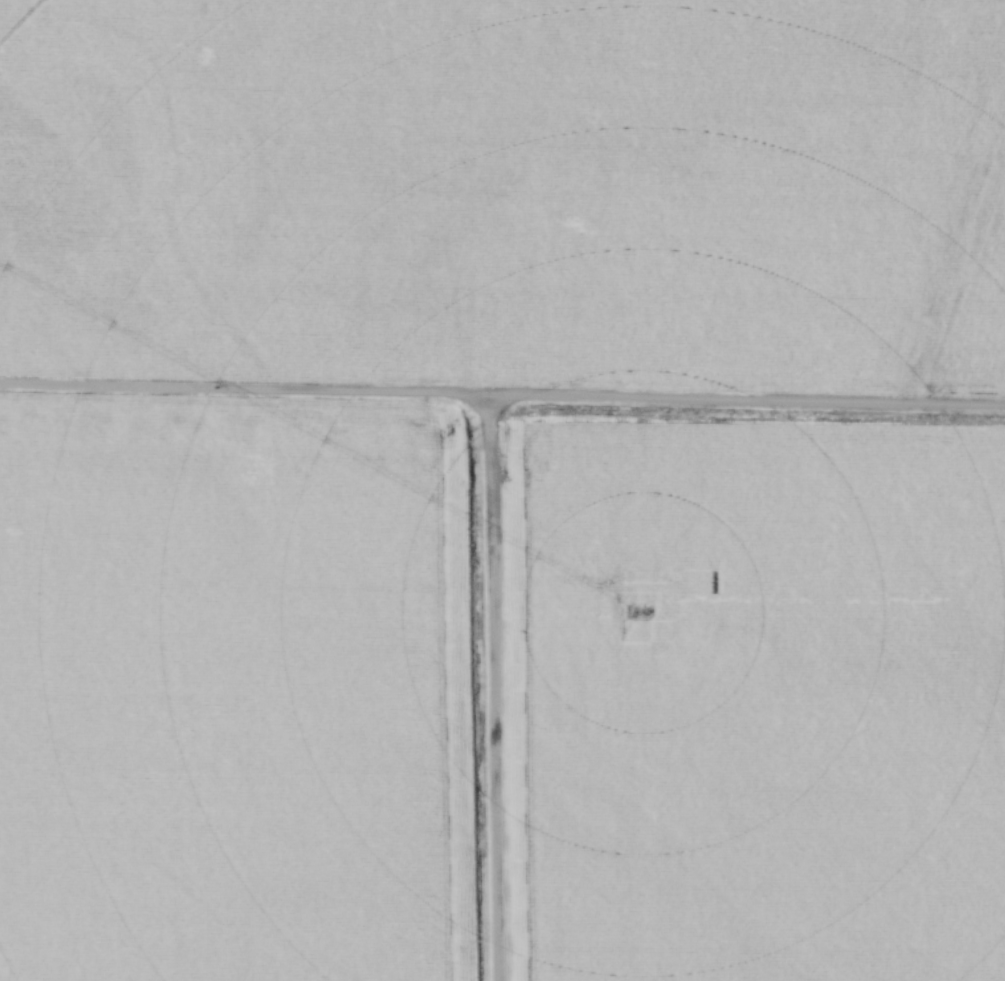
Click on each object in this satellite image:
road: (502, 395)
road: (494, 688)

